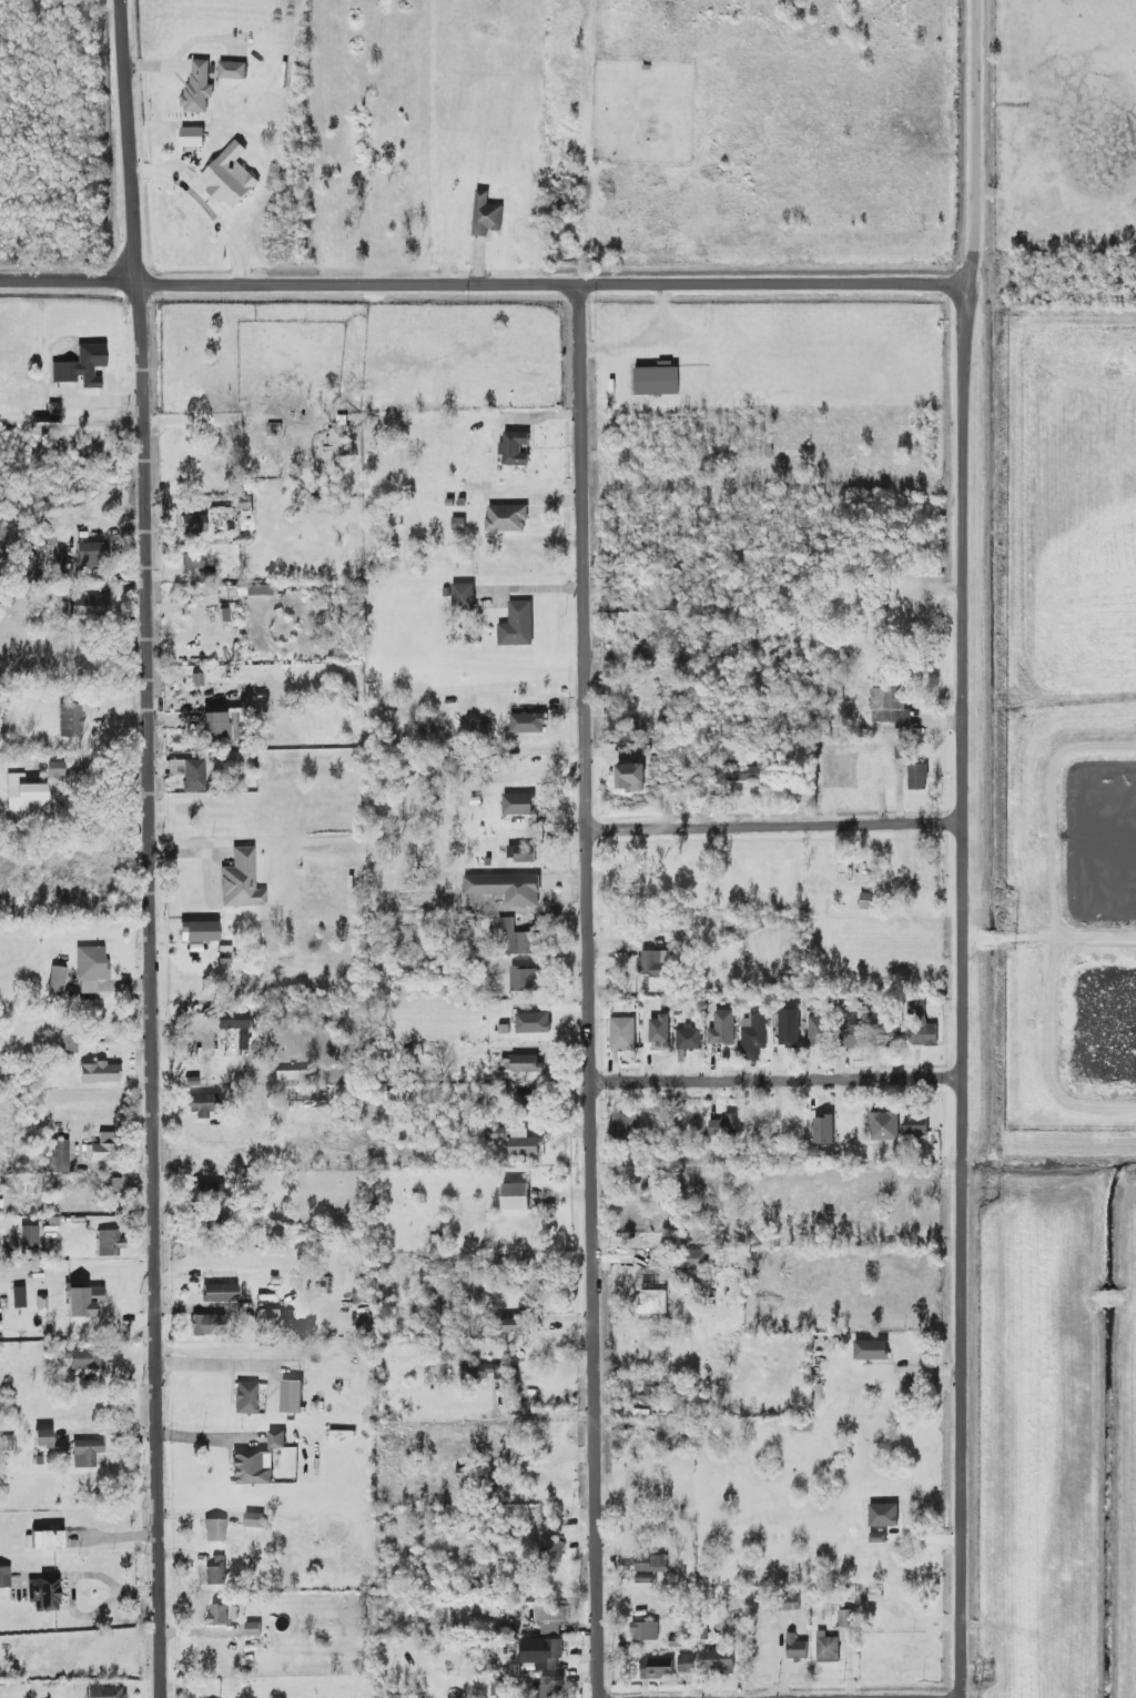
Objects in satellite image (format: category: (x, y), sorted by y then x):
building: (233, 70)
building: (197, 88)
building: (192, 137)
building: (230, 176)
road: (205, 206)
building: (486, 215)
road: (486, 284)
building: (81, 366)
building: (657, 380)
building: (515, 448)
building: (244, 513)
building: (507, 518)
building: (192, 523)
building: (90, 555)
building: (192, 562)
building: (464, 595)
building: (88, 606)
building: (517, 625)
road: (146, 654)
road: (963, 663)
building: (890, 707)
building: (70, 719)
building: (528, 722)
building: (214, 726)
building: (53, 767)
building: (742, 774)
building: (193, 775)
building: (630, 777)
building: (917, 777)
building: (26, 796)
road: (587, 800)
building: (518, 805)
road: (775, 827)
building: (521, 852)
building: (240, 880)
building: (506, 888)
building: (199, 931)
building: (518, 939)
building: (653, 963)
building: (90, 968)
building: (57, 978)
building: (525, 979)
building: (232, 1020)
building: (921, 1024)
building: (723, 1029)
building: (660, 1030)
building: (622, 1033)
building: (753, 1035)
building: (785, 1035)
building: (815, 1035)
building: (853, 1035)
building: (887, 1037)
building: (689, 1038)
building: (203, 1039)
building: (68, 1043)
building: (526, 1063)
building: (99, 1072)
road: (777, 1081)
building: (528, 1103)
building: (202, 1104)
building: (723, 1123)
building: (917, 1123)
building: (626, 1124)
building: (884, 1125)
building: (824, 1130)
building: (523, 1143)
building: (101, 1148)
building: (59, 1155)
building: (113, 1184)
building: (206, 1191)
building: (516, 1196)
building: (28, 1236)
building: (108, 1243)
building: (689, 1260)
building: (656, 1290)
building: (219, 1292)
building: (17, 1297)
building: (83, 1301)
building: (41, 1303)
building: (271, 1314)
building: (200, 1325)
building: (514, 1326)
building: (871, 1350)
building: (85, 1358)
building: (483, 1372)
building: (292, 1396)
building: (245, 1397)
road: (536, 1415)
building: (42, 1437)
building: (276, 1439)
building: (85, 1452)
building: (252, 1467)
road: (159, 1503)
road: (596, 1507)
road: (962, 1512)
building: (879, 1513)
building: (255, 1519)
building: (214, 1529)
building: (44, 1539)
building: (550, 1552)
building: (651, 1564)
building: (215, 1570)
road: (75, 1576)
building: (4, 1577)
building: (42, 1594)
building: (790, 1603)
building: (223, 1614)
building: (552, 1614)
building: (846, 1625)
building: (253, 1629)
building: (645, 1631)
building: (795, 1648)
building: (828, 1648)
building: (542, 1652)
building: (719, 1660)
building: (687, 1664)
building: (656, 1668)
building: (550, 1686)
building: (103, 1691)

